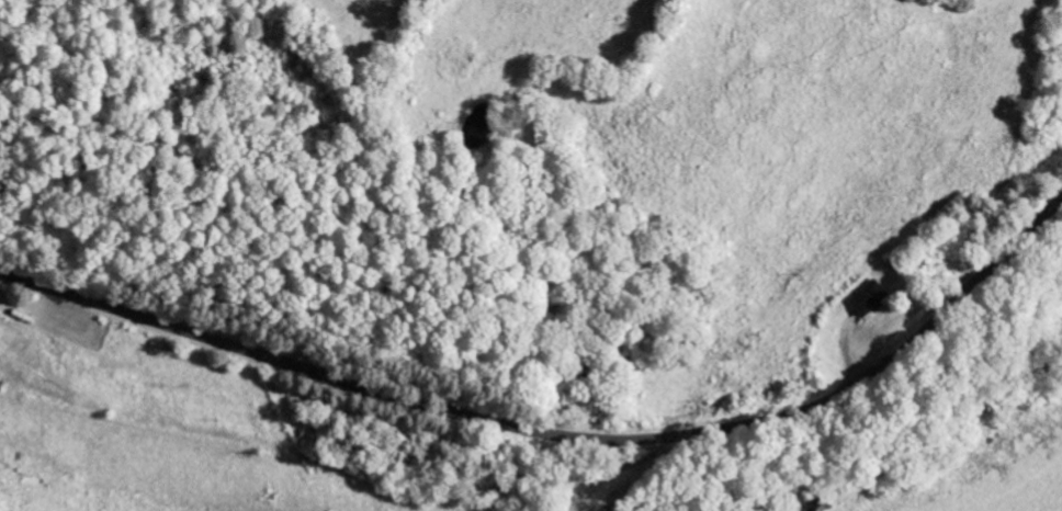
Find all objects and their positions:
building: (866, 298)
road: (561, 430)

